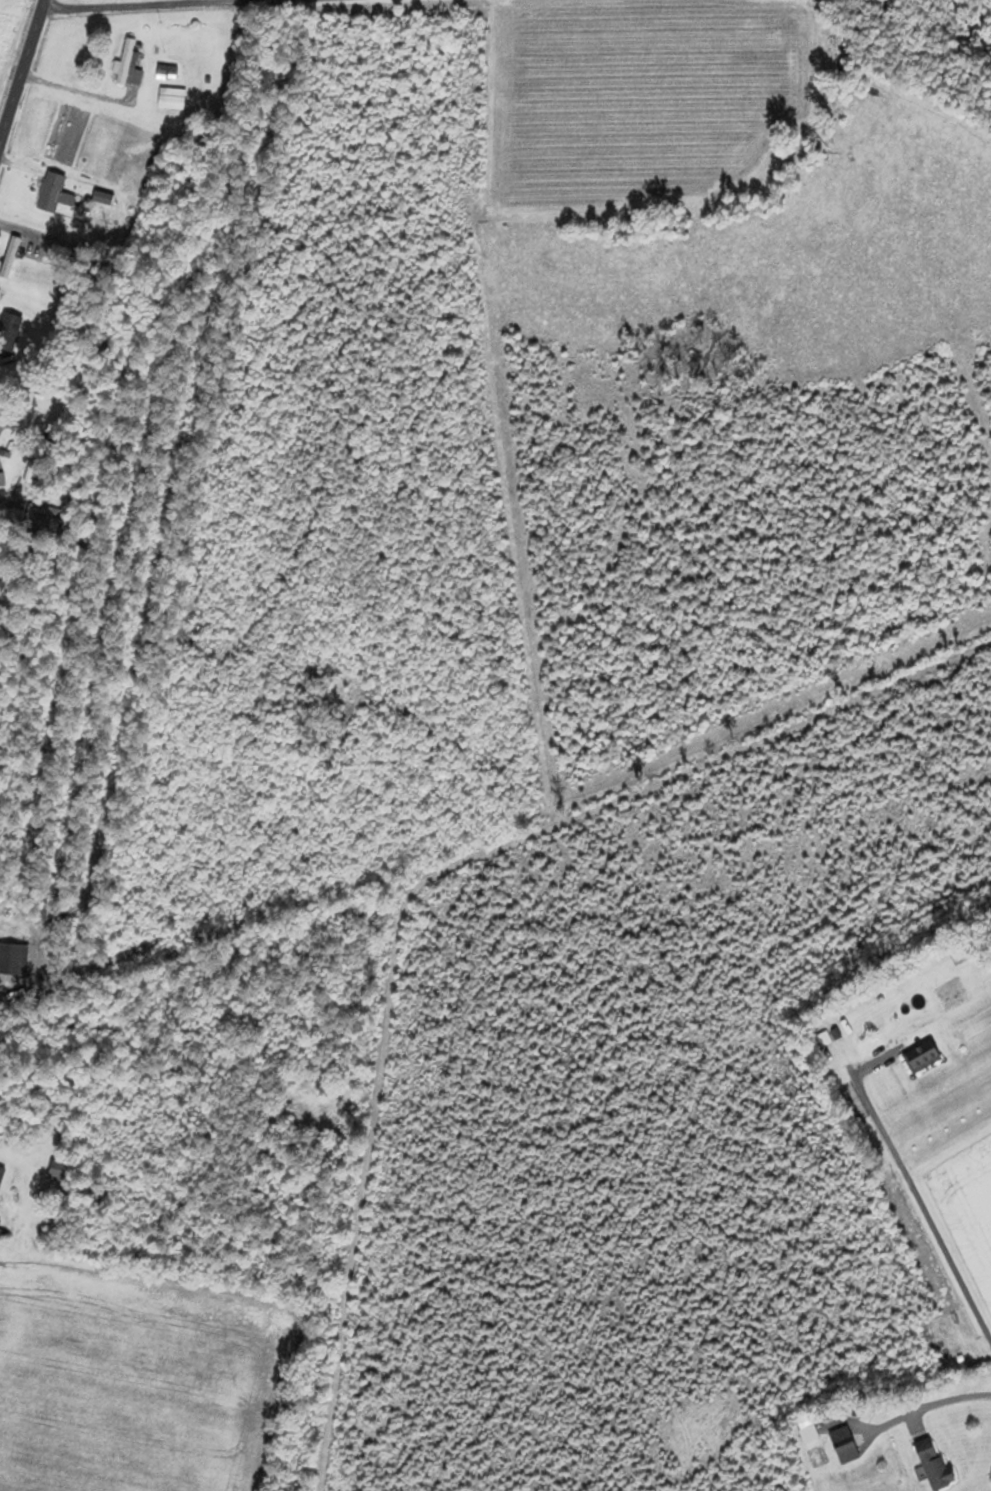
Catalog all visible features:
road: (212, 9)
building: (128, 65)
road: (22, 71)
building: (169, 98)
building: (52, 194)
building: (9, 257)
building: (9, 331)
building: (35, 522)
building: (921, 1058)
building: (60, 1171)
building: (1, 1174)
road: (919, 1199)
building: (0, 1222)
road: (929, 1409)
building: (843, 1445)
building: (934, 1466)

